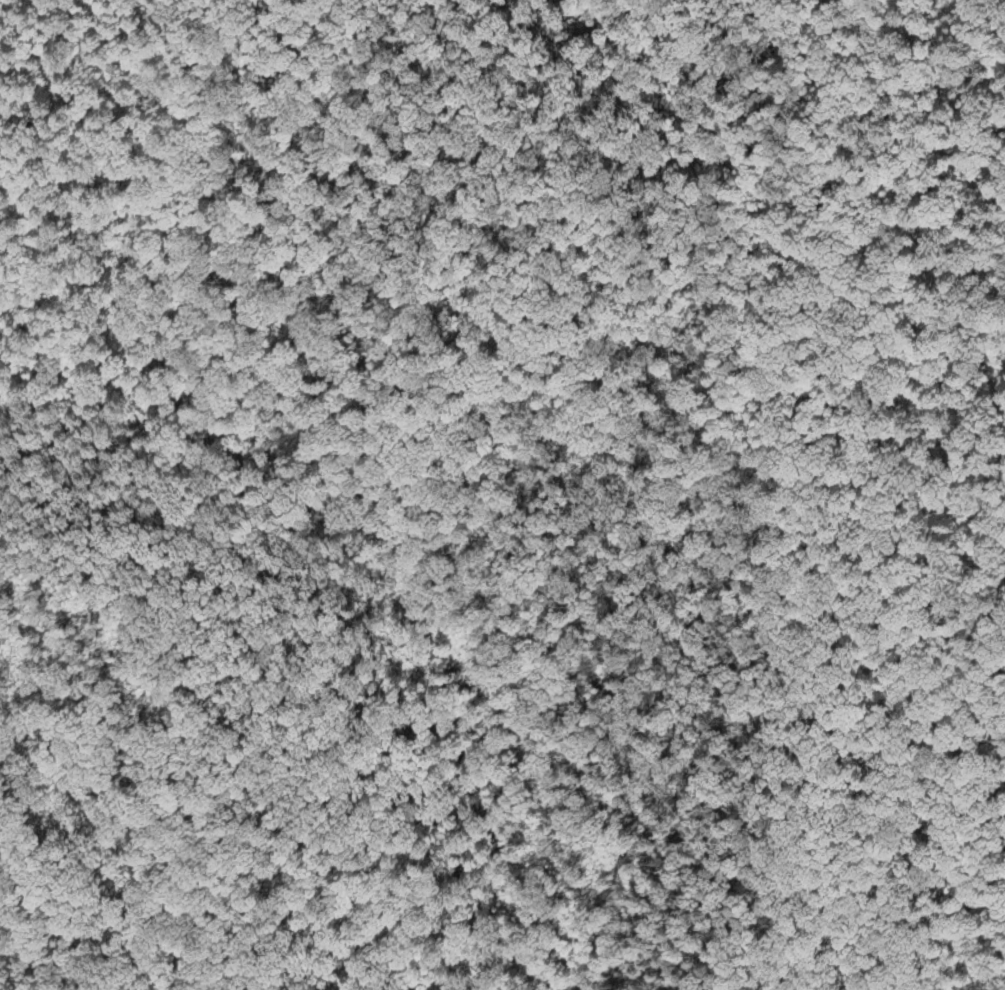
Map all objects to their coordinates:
road: (993, 19)
road: (549, 406)

